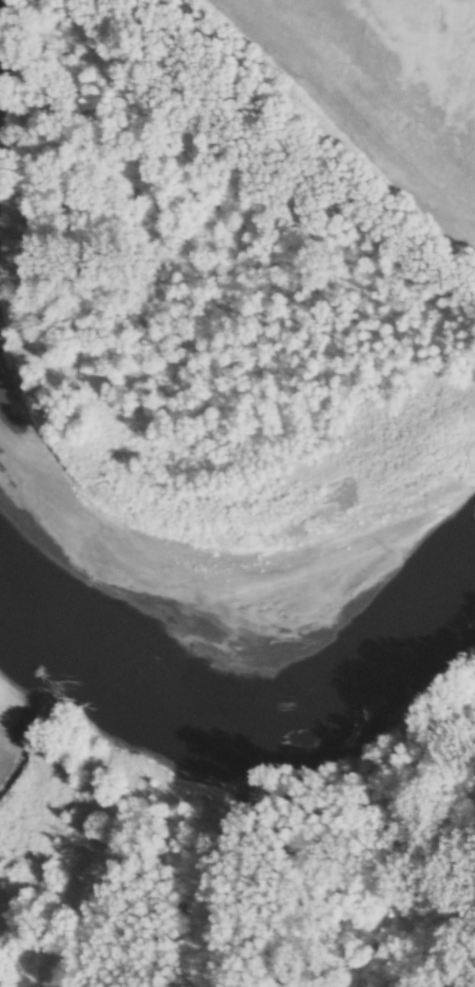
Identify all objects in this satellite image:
river: (247, 586)

